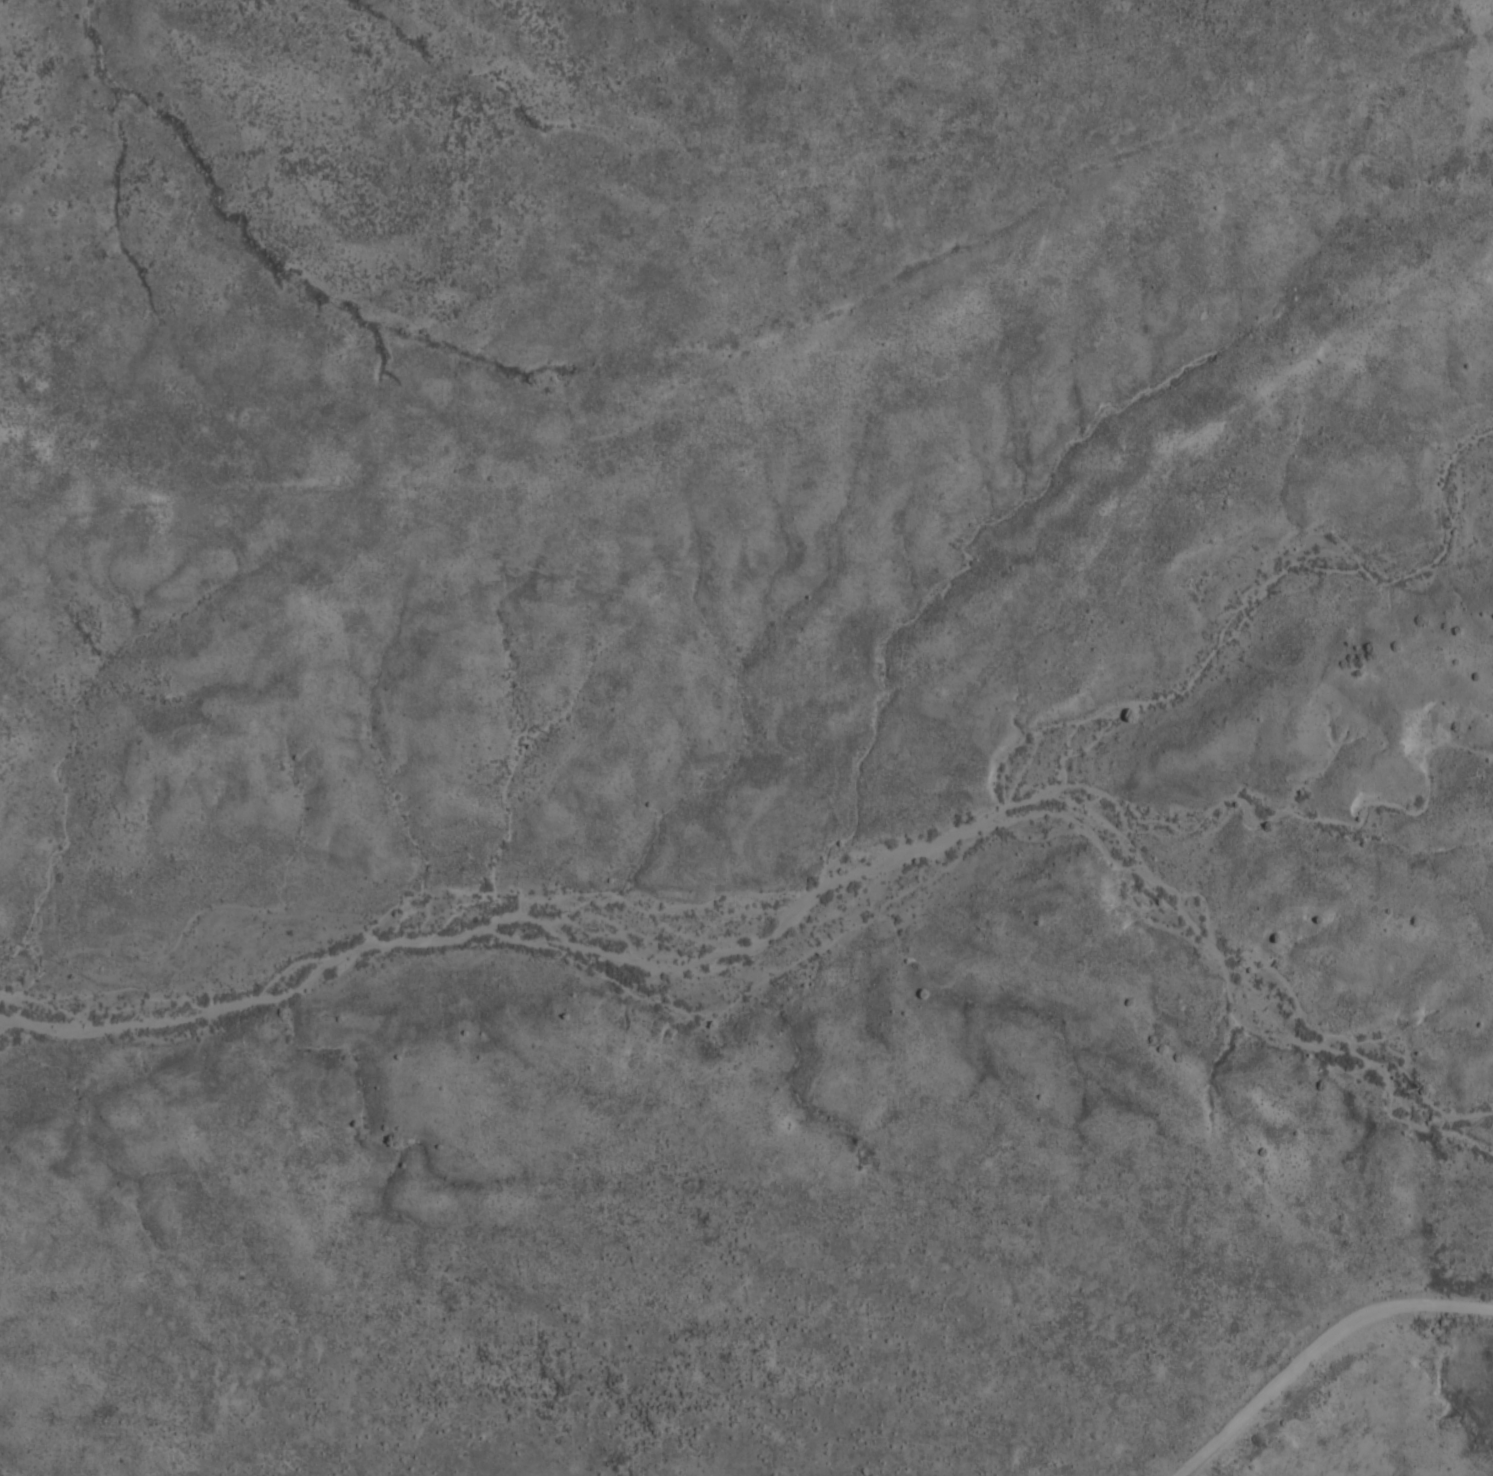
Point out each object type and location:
road: (1319, 1353)

